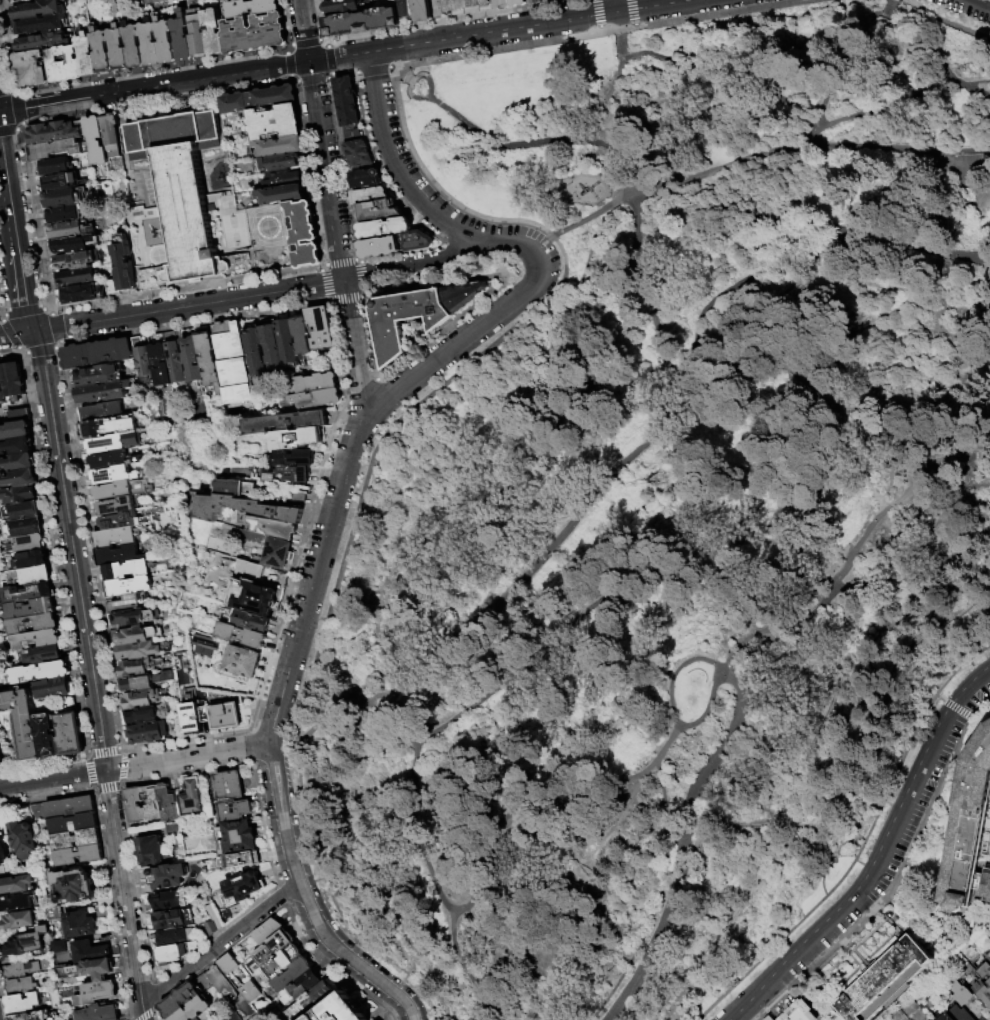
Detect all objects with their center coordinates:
building: (19, 1)
building: (534, 1)
building: (517, 2)
building: (501, 3)
road: (979, 3)
building: (466, 4)
building: (341, 6)
road: (614, 6)
building: (251, 7)
road: (438, 8)
building: (37, 9)
building: (404, 9)
building: (421, 10)
road: (631, 12)
road: (721, 12)
road: (596, 13)
road: (318, 19)
road: (446, 20)
building: (361, 21)
road: (285, 22)
building: (41, 23)
road: (947, 24)
road: (626, 26)
road: (441, 27)
road: (606, 29)
building: (213, 30)
road: (619, 31)
building: (254, 32)
building: (198, 34)
building: (182, 35)
building: (165, 39)
road: (322, 39)
building: (41, 40)
road: (304, 41)
building: (150, 42)
road: (7, 44)
building: (134, 44)
road: (288, 45)
building: (118, 47)
road: (938, 47)
building: (102, 50)
building: (86, 53)
road: (346, 55)
road: (325, 57)
building: (64, 62)
traffic signals: (310, 62)
road: (288, 63)
building: (32, 67)
road: (151, 68)
road: (391, 68)
road: (370, 69)
road: (399, 71)
road: (341, 74)
road: (327, 76)
road: (616, 77)
road: (291, 79)
road: (311, 80)
road: (416, 80)
road: (411, 81)
road: (297, 82)
road: (412, 84)
road: (250, 87)
road: (4, 89)
road: (14, 89)
road: (973, 91)
road: (394, 93)
road: (778, 98)
building: (257, 99)
road: (421, 99)
building: (346, 101)
road: (893, 102)
road: (19, 108)
building: (273, 122)
road: (17, 129)
road: (7, 130)
building: (52, 132)
building: (350, 133)
building: (110, 135)
building: (95, 139)
road: (536, 142)
road: (869, 143)
building: (279, 146)
building: (52, 149)
building: (357, 153)
road: (946, 156)
road: (973, 156)
building: (278, 162)
building: (53, 167)
road: (343, 167)
road: (715, 167)
road: (958, 169)
road: (2, 171)
building: (281, 178)
building: (365, 178)
building: (57, 182)
road: (612, 183)
road: (410, 188)
building: (181, 189)
building: (283, 194)
building: (369, 195)
building: (60, 198)
road: (402, 204)
road: (331, 205)
building: (377, 209)
road: (858, 212)
road: (9, 214)
building: (62, 214)
road: (33, 215)
road: (751, 216)
road: (590, 217)
road: (453, 224)
building: (384, 227)
building: (64, 230)
building: (303, 234)
building: (416, 241)
road: (543, 242)
building: (75, 243)
building: (378, 246)
road: (589, 254)
road: (357, 259)
building: (75, 260)
road: (340, 262)
road: (543, 263)
road: (321, 266)
building: (123, 267)
road: (361, 275)
building: (74, 277)
road: (798, 278)
road: (322, 284)
road: (217, 285)
road: (21, 287)
building: (112, 287)
road: (184, 288)
road: (363, 292)
building: (462, 292)
building: (79, 293)
road: (218, 294)
road: (257, 295)
road: (644, 296)
road: (346, 299)
road: (327, 301)
road: (468, 308)
road: (48, 309)
road: (921, 309)
road: (0, 311)
road: (23, 312)
road: (0, 316)
building: (403, 316)
road: (796, 318)
road: (747, 319)
road: (191, 322)
road: (54, 327)
building: (319, 327)
road: (8, 333)
road: (16, 334)
road: (890, 334)
building: (300, 335)
building: (285, 342)
road: (961, 342)
road: (57, 345)
building: (270, 346)
road: (20, 350)
road: (39, 350)
road: (980, 351)
road: (10, 352)
building: (96, 353)
road: (337, 353)
building: (141, 356)
building: (254, 356)
building: (173, 357)
building: (190, 357)
building: (206, 358)
building: (157, 360)
building: (231, 362)
building: (96, 375)
road: (380, 379)
road: (614, 379)
road: (952, 380)
building: (13, 382)
building: (313, 383)
road: (384, 388)
building: (2, 390)
road: (362, 391)
building: (101, 392)
road: (975, 397)
building: (315, 399)
road: (392, 401)
building: (100, 411)
building: (19, 415)
building: (284, 422)
road: (911, 422)
road: (548, 423)
building: (108, 426)
building: (15, 429)
road: (813, 433)
road: (965, 435)
building: (295, 438)
road: (765, 440)
building: (112, 442)
building: (16, 446)
road: (642, 446)
road: (865, 457)
building: (293, 458)
building: (107, 459)
building: (17, 462)
road: (921, 468)
road: (784, 473)
building: (288, 474)
building: (110, 476)
building: (18, 479)
building: (234, 488)
building: (119, 489)
building: (17, 495)
building: (298, 498)
building: (115, 505)
building: (241, 508)
road: (765, 509)
building: (22, 510)
road: (628, 511)
park: (666, 517)
building: (117, 520)
building: (24, 527)
building: (273, 528)
building: (112, 537)
road: (742, 540)
road: (863, 542)
building: (30, 543)
road: (88, 546)
road: (73, 550)
road: (56, 553)
building: (276, 553)
building: (115, 555)
building: (31, 559)
building: (125, 569)
road: (919, 572)
building: (29, 575)
building: (128, 585)
road: (605, 590)
building: (27, 592)
building: (253, 599)
building: (127, 603)
road: (331, 605)
building: (30, 608)
building: (133, 617)
road: (803, 618)
building: (246, 620)
building: (32, 623)
road: (276, 628)
road: (300, 629)
building: (137, 635)
building: (241, 635)
building: (36, 640)
road: (908, 645)
road: (844, 647)
road: (423, 649)
building: (137, 651)
building: (42, 655)
building: (241, 662)
road: (732, 665)
building: (137, 667)
building: (39, 672)
building: (143, 682)
building: (52, 688)
road: (413, 691)
road: (678, 695)
building: (141, 699)
building: (64, 706)
road: (978, 706)
road: (335, 707)
road: (955, 708)
building: (204, 715)
building: (140, 716)
building: (224, 716)
building: (191, 719)
building: (23, 723)
road: (253, 727)
road: (575, 731)
road: (249, 732)
building: (148, 733)
building: (70, 734)
road: (270, 735)
building: (47, 736)
road: (118, 747)
road: (249, 747)
road: (102, 751)
road: (123, 752)
road: (271, 752)
road: (189, 757)
building: (1, 758)
road: (44, 762)
road: (251, 763)
road: (121, 767)
road: (363, 768)
road: (90, 770)
road: (665, 774)
road: (836, 774)
road: (182, 775)
road: (53, 780)
road: (119, 783)
building: (228, 785)
road: (92, 788)
road: (105, 788)
road: (46, 797)
building: (191, 798)
road: (789, 799)
road: (530, 800)
building: (151, 802)
building: (167, 802)
building: (134, 805)
building: (68, 806)
building: (235, 810)
road: (783, 822)
building: (70, 823)
road: (262, 824)
building: (968, 829)
building: (24, 837)
building: (240, 837)
building: (73, 838)
road: (864, 842)
road: (687, 843)
road: (698, 846)
road: (610, 847)
building: (3, 849)
building: (151, 852)
road: (337, 853)
building: (75, 855)
road: (429, 856)
road: (878, 856)
building: (239, 860)
road: (877, 871)
road: (821, 872)
building: (2, 874)
building: (166, 876)
road: (892, 878)
road: (306, 882)
building: (76, 885)
road: (134, 885)
building: (16, 886)
road: (889, 887)
building: (241, 889)
road: (283, 892)
road: (124, 895)
building: (166, 901)
building: (16, 902)
road: (574, 904)
road: (111, 905)
road: (383, 907)
building: (168, 919)
building: (18, 921)
building: (211, 921)
building: (79, 926)
building: (268, 932)
road: (215, 933)
road: (648, 933)
building: (174, 936)
road: (517, 941)
building: (28, 943)
road: (219, 945)
building: (56, 946)
building: (271, 948)
building: (91, 952)
building: (172, 952)
road: (219, 954)
road: (702, 955)
building: (986, 956)
building: (277, 963)
building: (228, 966)
road: (330, 968)
building: (22, 970)
building: (95, 970)
building: (983, 972)
building: (292, 974)
building: (220, 981)
building: (885, 981)
building: (22, 986)
road: (395, 987)
building: (301, 988)
building: (957, 990)
building: (248, 991)
building: (981, 992)
building: (97, 993)
road: (150, 994)
building: (179, 998)
building: (310, 1001)
building: (24, 1004)
road: (151, 1008)
building: (192, 1008)
road: (1, 1009)
building: (339, 1011)
building: (797, 1011)
building: (100, 1013)
road: (152, 1014)
road: (506, 1014)
road: (143, 1015)
building: (37, 1016)
building: (966, 1016)
building: (944, 1017)
building: (769, 1018)
building: (199, 1019)
building: (983, 1019)

